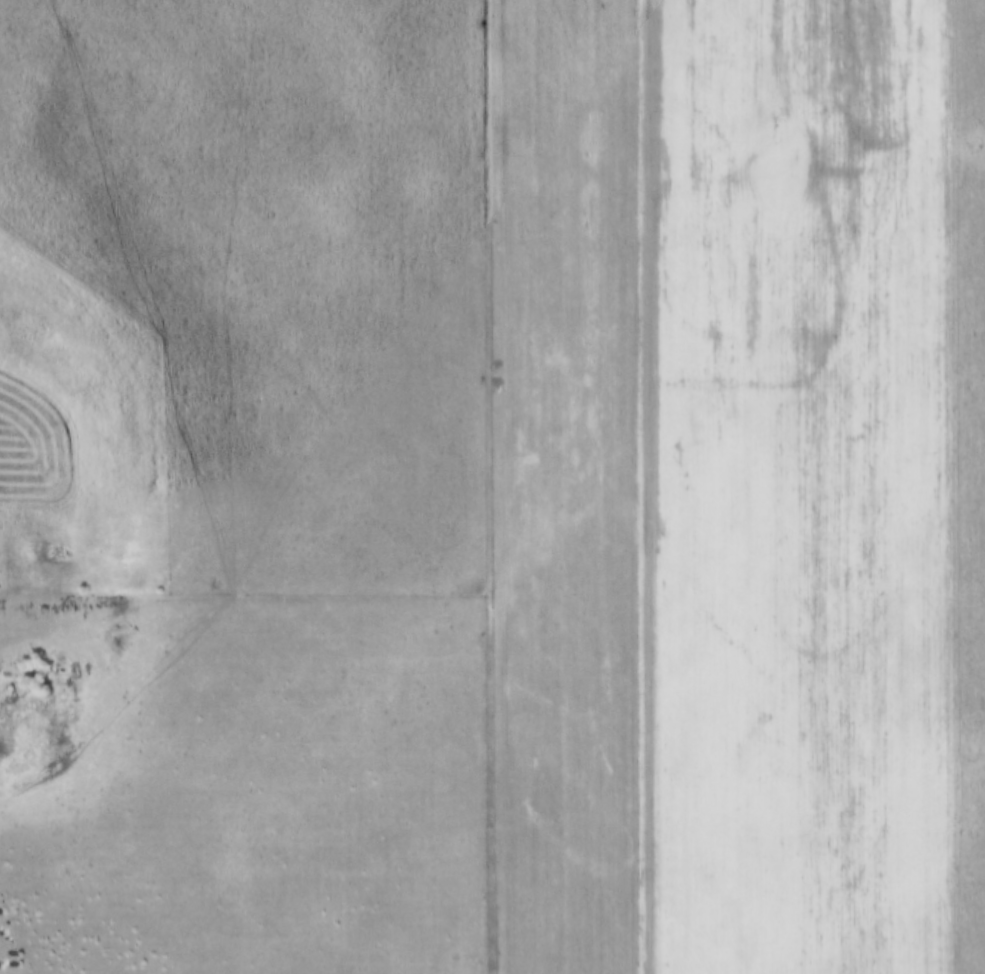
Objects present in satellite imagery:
road: (640, 486)

